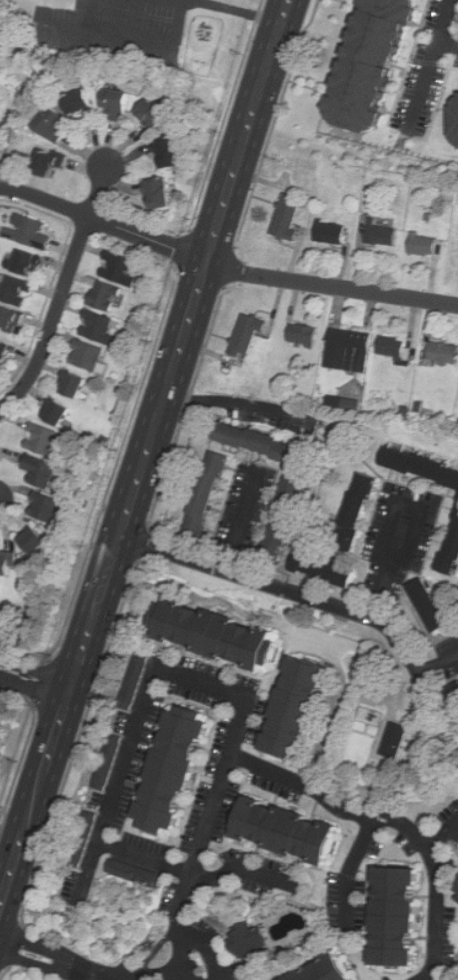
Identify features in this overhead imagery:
road: (239, 12)
road: (138, 41)
road: (448, 42)
building: (362, 61)
road: (430, 62)
building: (82, 101)
building: (118, 103)
building: (155, 113)
building: (451, 116)
road: (274, 123)
building: (54, 124)
building: (173, 151)
building: (51, 162)
building: (162, 192)
building: (289, 217)
building: (331, 232)
building: (32, 234)
building: (383, 234)
building: (425, 244)
building: (27, 263)
road: (223, 267)
building: (121, 268)
road: (231, 268)
building: (17, 291)
road: (62, 293)
building: (107, 296)
building: (11, 318)
building: (100, 328)
building: (305, 334)
building: (249, 335)
building: (394, 346)
building: (350, 350)
building: (445, 352)
building: (4, 353)
building: (89, 355)
building: (75, 384)
road: (238, 401)
building: (346, 404)
road: (186, 407)
building: (57, 412)
building: (45, 442)
building: (264, 443)
road: (147, 456)
building: (422, 467)
building: (45, 471)
building: (209, 495)
building: (46, 508)
building: (359, 511)
building: (287, 520)
road: (251, 521)
building: (38, 541)
road: (142, 544)
building: (452, 554)
road: (404, 557)
building: (8, 563)
building: (327, 569)
road: (321, 602)
building: (432, 605)
building: (207, 633)
road: (36, 675)
building: (135, 680)
road: (441, 680)
building: (454, 692)
building: (292, 706)
road: (132, 737)
building: (396, 739)
road: (78, 741)
building: (107, 759)
building: (167, 768)
road: (289, 778)
building: (291, 831)
road: (443, 834)
building: (82, 837)
road: (351, 867)
road: (239, 868)
building: (137, 874)
building: (399, 917)
building: (250, 941)
road: (13, 945)
building: (329, 970)
road: (4, 973)
road: (90, 973)

